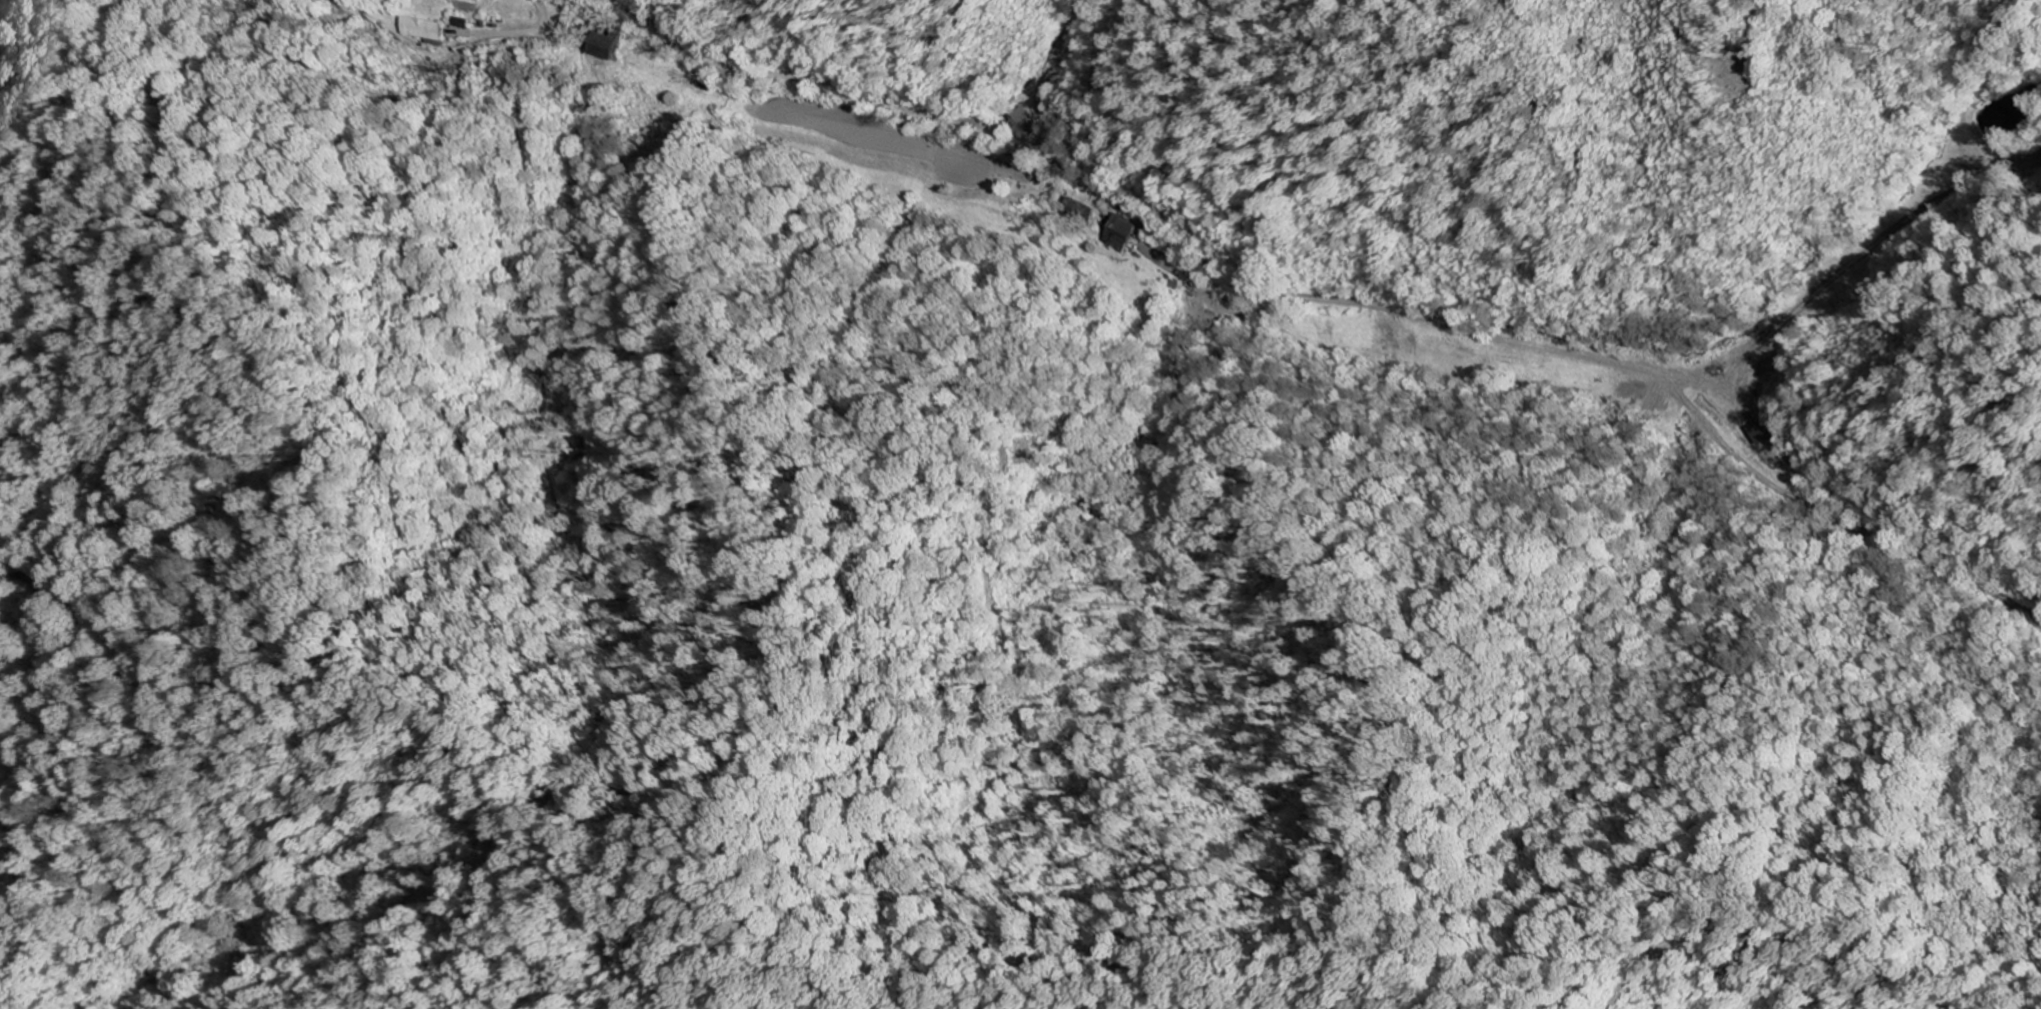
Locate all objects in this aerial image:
building: (418, 29)
building: (1073, 205)
road: (1157, 219)

